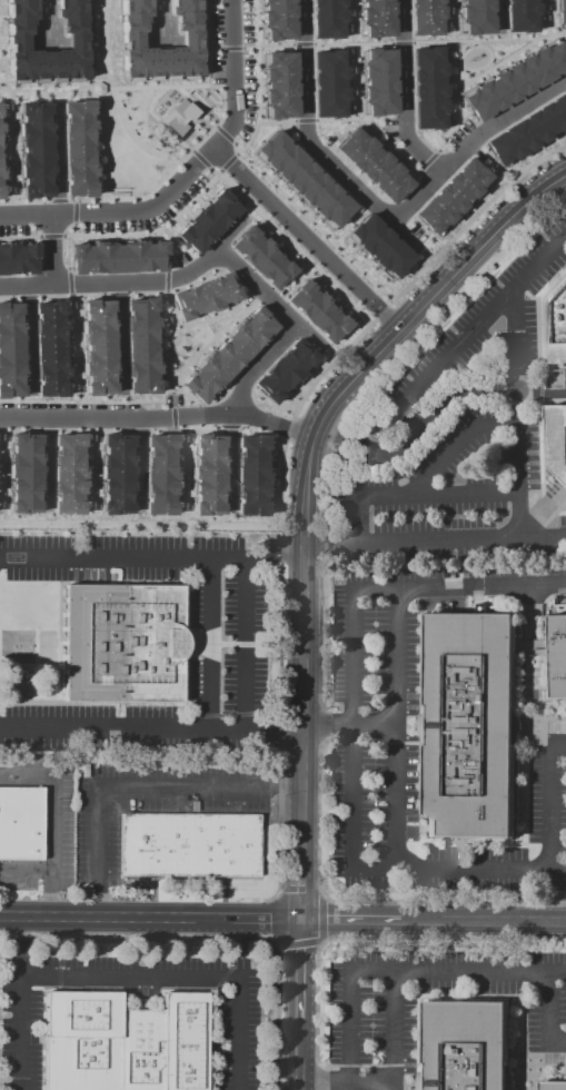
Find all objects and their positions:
building: (560, 11)
road: (496, 13)
building: (519, 14)
building: (424, 16)
building: (474, 16)
building: (375, 17)
road: (546, 17)
building: (277, 18)
building: (326, 18)
road: (44, 20)
building: (131, 40)
road: (473, 40)
building: (14, 42)
road: (206, 42)
road: (403, 42)
road: (275, 43)
road: (302, 43)
road: (351, 44)
road: (214, 48)
road: (231, 48)
road: (248, 48)
park: (478, 57)
road: (507, 57)
road: (352, 58)
road: (451, 80)
building: (516, 80)
building: (278, 82)
building: (328, 82)
building: (378, 82)
road: (206, 86)
building: (428, 87)
building: (97, 88)
road: (89, 91)
road: (401, 91)
road: (44, 93)
road: (115, 99)
park: (136, 110)
building: (178, 118)
road: (306, 119)
road: (276, 121)
road: (149, 127)
road: (374, 128)
building: (527, 130)
road: (225, 135)
road: (373, 136)
road: (468, 138)
building: (0, 141)
road: (311, 143)
road: (9, 147)
building: (76, 147)
road: (101, 147)
park: (158, 147)
road: (238, 147)
building: (33, 148)
park: (127, 157)
road: (54, 160)
road: (201, 160)
road: (229, 160)
road: (428, 160)
building: (373, 165)
road: (218, 171)
building: (302, 179)
building: (0, 180)
road: (187, 181)
building: (450, 195)
road: (133, 197)
road: (23, 201)
road: (56, 201)
road: (75, 212)
building: (207, 220)
road: (73, 229)
road: (231, 231)
road: (136, 235)
road: (51, 236)
road: (19, 237)
road: (309, 237)
road: (169, 239)
building: (379, 246)
road: (58, 248)
road: (342, 254)
building: (117, 257)
building: (260, 257)
building: (18, 258)
road: (171, 259)
road: (165, 280)
road: (69, 283)
road: (115, 283)
road: (336, 288)
road: (116, 294)
road: (146, 294)
building: (203, 295)
road: (70, 296)
road: (267, 296)
road: (26, 297)
road: (9, 298)
road: (425, 301)
road: (232, 311)
building: (316, 311)
road: (380, 311)
road: (481, 326)
building: (556, 326)
road: (27, 337)
road: (118, 337)
park: (188, 340)
building: (140, 347)
building: (49, 348)
road: (73, 348)
building: (98, 348)
road: (166, 349)
building: (10, 351)
building: (227, 354)
road: (259, 367)
building: (284, 370)
road: (463, 398)
road: (81, 402)
road: (162, 415)
road: (518, 416)
road: (155, 417)
road: (410, 423)
road: (186, 427)
road: (227, 427)
road: (288, 428)
road: (48, 429)
road: (95, 429)
road: (142, 429)
road: (20, 430)
road: (259, 432)
parking lot: (458, 437)
building: (557, 439)
road: (348, 440)
road: (466, 446)
road: (407, 448)
road: (542, 457)
road: (346, 459)
road: (47, 465)
road: (225, 465)
road: (137, 466)
road: (302, 468)
building: (23, 472)
building: (67, 472)
building: (115, 472)
building: (160, 473)
building: (207, 474)
building: (250, 475)
road: (91, 476)
road: (185, 476)
road: (438, 494)
road: (358, 522)
road: (182, 525)
road: (280, 539)
road: (405, 543)
road: (123, 561)
road: (351, 621)
building: (122, 643)
road: (245, 644)
road: (210, 645)
road: (246, 645)
building: (558, 654)
road: (302, 656)
road: (320, 725)
building: (470, 725)
road: (397, 727)
road: (122, 730)
road: (278, 732)
road: (138, 790)
road: (550, 801)
road: (51, 821)
building: (21, 823)
building: (190, 846)
road: (302, 868)
road: (459, 869)
road: (26, 871)
road: (268, 916)
road: (108, 918)
road: (260, 918)
road: (352, 918)
road: (425, 919)
road: (506, 919)
road: (133, 934)
road: (320, 937)
road: (276, 942)
road: (471, 972)
road: (557, 973)
road: (183, 980)
road: (20, 1003)
road: (302, 1003)
road: (351, 1009)
road: (549, 1014)
road: (279, 1020)
road: (394, 1031)
building: (123, 1042)
building: (467, 1047)
road: (347, 1083)
building: (555, 1086)

